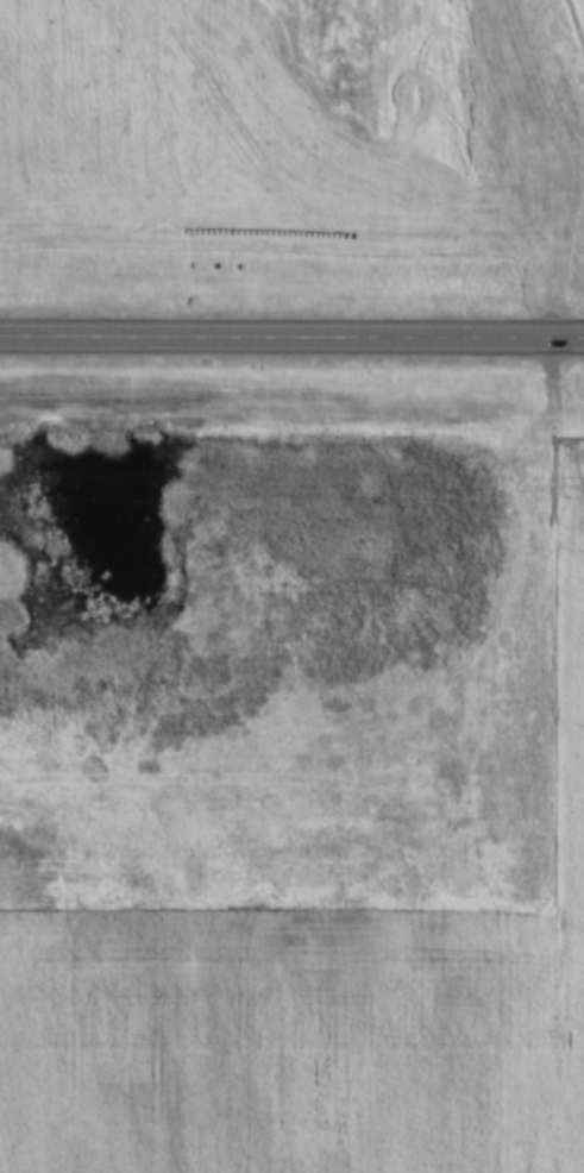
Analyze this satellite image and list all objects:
road: (291, 338)

